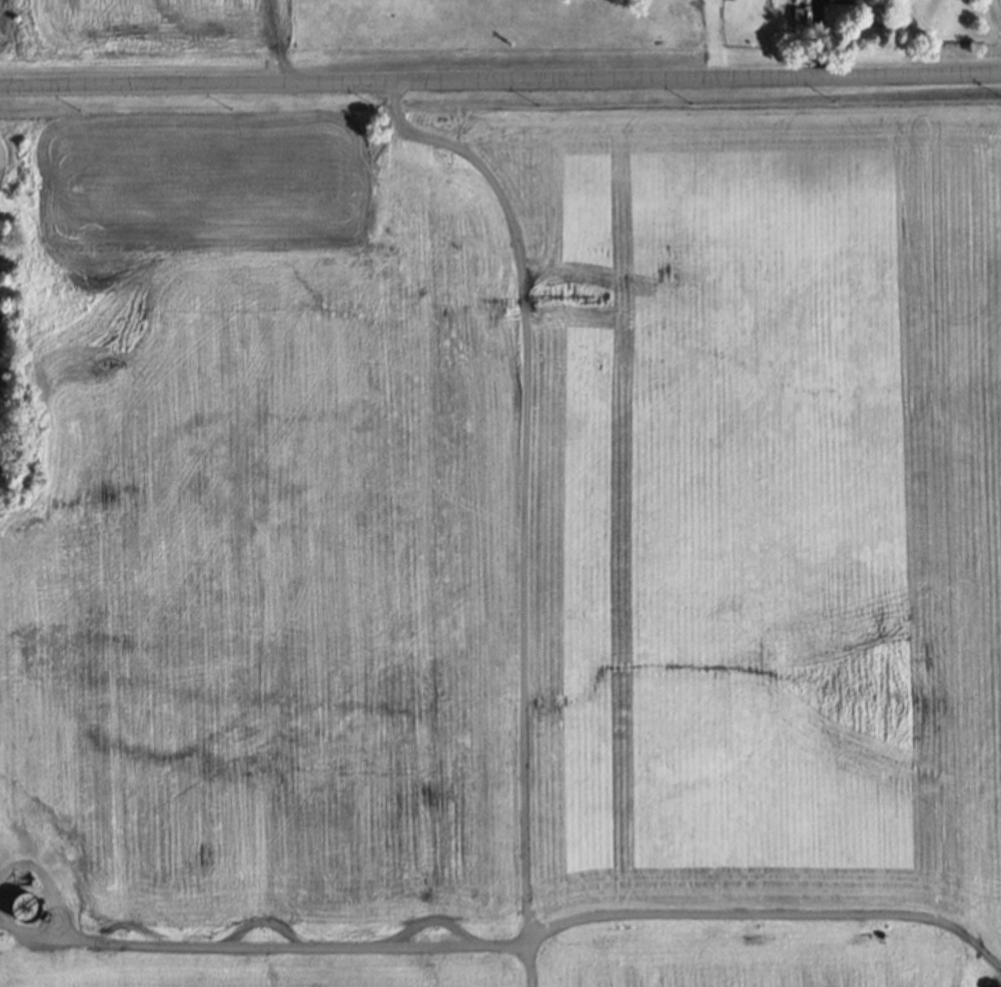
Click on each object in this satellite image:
building: (838, 1)
building: (799, 16)
road: (500, 79)
building: (22, 907)

